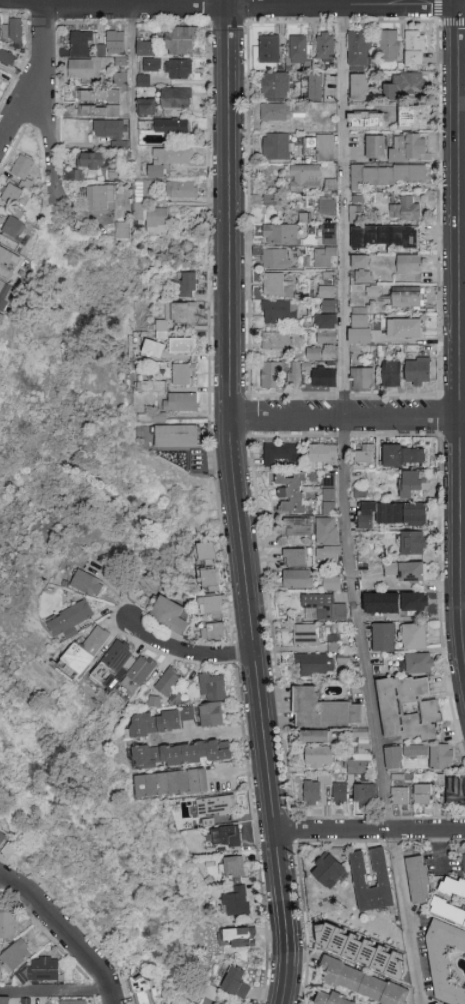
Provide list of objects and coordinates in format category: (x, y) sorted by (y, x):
road: (4, 2)
road: (115, 2)
road: (345, 2)
road: (232, 6)
building: (1, 24)
building: (7, 30)
building: (16, 30)
building: (180, 39)
building: (115, 43)
building: (81, 44)
building: (389, 44)
building: (326, 46)
building: (269, 48)
building: (360, 48)
building: (145, 49)
building: (298, 49)
building: (415, 49)
building: (6, 57)
building: (120, 61)
building: (151, 64)
building: (85, 68)
building: (179, 68)
road: (133, 77)
building: (121, 78)
building: (143, 81)
building: (275, 84)
building: (405, 85)
building: (359, 86)
building: (316, 87)
building: (99, 95)
building: (176, 97)
road: (48, 101)
road: (23, 104)
building: (146, 106)
building: (299, 109)
building: (99, 110)
building: (275, 111)
building: (413, 116)
building: (366, 121)
building: (173, 126)
building: (112, 131)
building: (277, 146)
building: (375, 146)
building: (408, 146)
building: (322, 147)
building: (92, 160)
building: (168, 160)
building: (22, 167)
building: (76, 173)
building: (116, 173)
building: (386, 175)
building: (305, 177)
building: (147, 189)
building: (181, 189)
building: (12, 193)
building: (100, 199)
building: (271, 199)
building: (326, 204)
building: (405, 209)
road: (345, 211)
building: (355, 213)
building: (1, 220)
building: (157, 220)
building: (13, 225)
building: (122, 230)
building: (329, 231)
building: (280, 234)
building: (385, 236)
building: (324, 257)
building: (275, 259)
building: (8, 262)
building: (360, 262)
building: (409, 263)
building: (363, 277)
building: (188, 284)
building: (276, 285)
building: (326, 291)
building: (372, 291)
building: (3, 295)
building: (407, 297)
building: (277, 311)
building: (183, 312)
road: (461, 316)
building: (1, 318)
building: (405, 327)
building: (160, 328)
building: (326, 328)
building: (360, 329)
building: (276, 341)
building: (182, 344)
building: (153, 348)
building: (321, 354)
building: (417, 371)
building: (294, 372)
building: (391, 373)
building: (183, 374)
building: (271, 374)
building: (324, 377)
building: (362, 378)
building: (152, 386)
building: (180, 402)
road: (347, 418)
building: (176, 436)
building: (279, 452)
building: (365, 452)
building: (322, 454)
building: (404, 455)
building: (412, 483)
building: (360, 491)
building: (291, 493)
building: (329, 494)
road: (238, 503)
building: (392, 514)
building: (296, 526)
building: (326, 530)
building: (413, 543)
building: (206, 553)
building: (328, 553)
building: (295, 556)
building: (408, 571)
building: (209, 579)
building: (298, 579)
building: (86, 582)
building: (331, 582)
road: (464, 584)
building: (415, 601)
building: (211, 605)
building: (323, 607)
building: (383, 613)
building: (168, 614)
building: (69, 620)
road: (362, 625)
building: (212, 631)
building: (306, 634)
building: (412, 636)
building: (383, 637)
building: (334, 646)
building: (85, 651)
road: (186, 653)
building: (345, 659)
building: (113, 660)
building: (419, 663)
building: (313, 664)
building: (138, 672)
building: (168, 681)
building: (212, 686)
building: (156, 699)
building: (389, 708)
building: (323, 710)
building: (211, 714)
building: (158, 722)
road: (210, 734)
building: (316, 736)
building: (182, 753)
building: (360, 755)
building: (318, 756)
building: (441, 762)
road: (241, 772)
building: (171, 783)
building: (315, 789)
building: (456, 790)
building: (341, 794)
building: (364, 794)
building: (422, 795)
building: (400, 796)
building: (214, 805)
road: (371, 832)
building: (226, 836)
building: (4, 837)
building: (464, 863)
building: (235, 867)
building: (381, 869)
building: (328, 870)
road: (2, 876)
building: (418, 879)
building: (453, 885)
building: (236, 902)
building: (448, 911)
road: (409, 918)
building: (10, 923)
road: (66, 930)
building: (236, 937)
building: (365, 947)
building: (20, 954)
building: (444, 961)
building: (47, 969)
building: (236, 982)
building: (363, 983)
road: (55, 987)
building: (144, 990)
building: (8, 999)
building: (330, 999)
building: (32, 1000)
building: (79, 1001)

